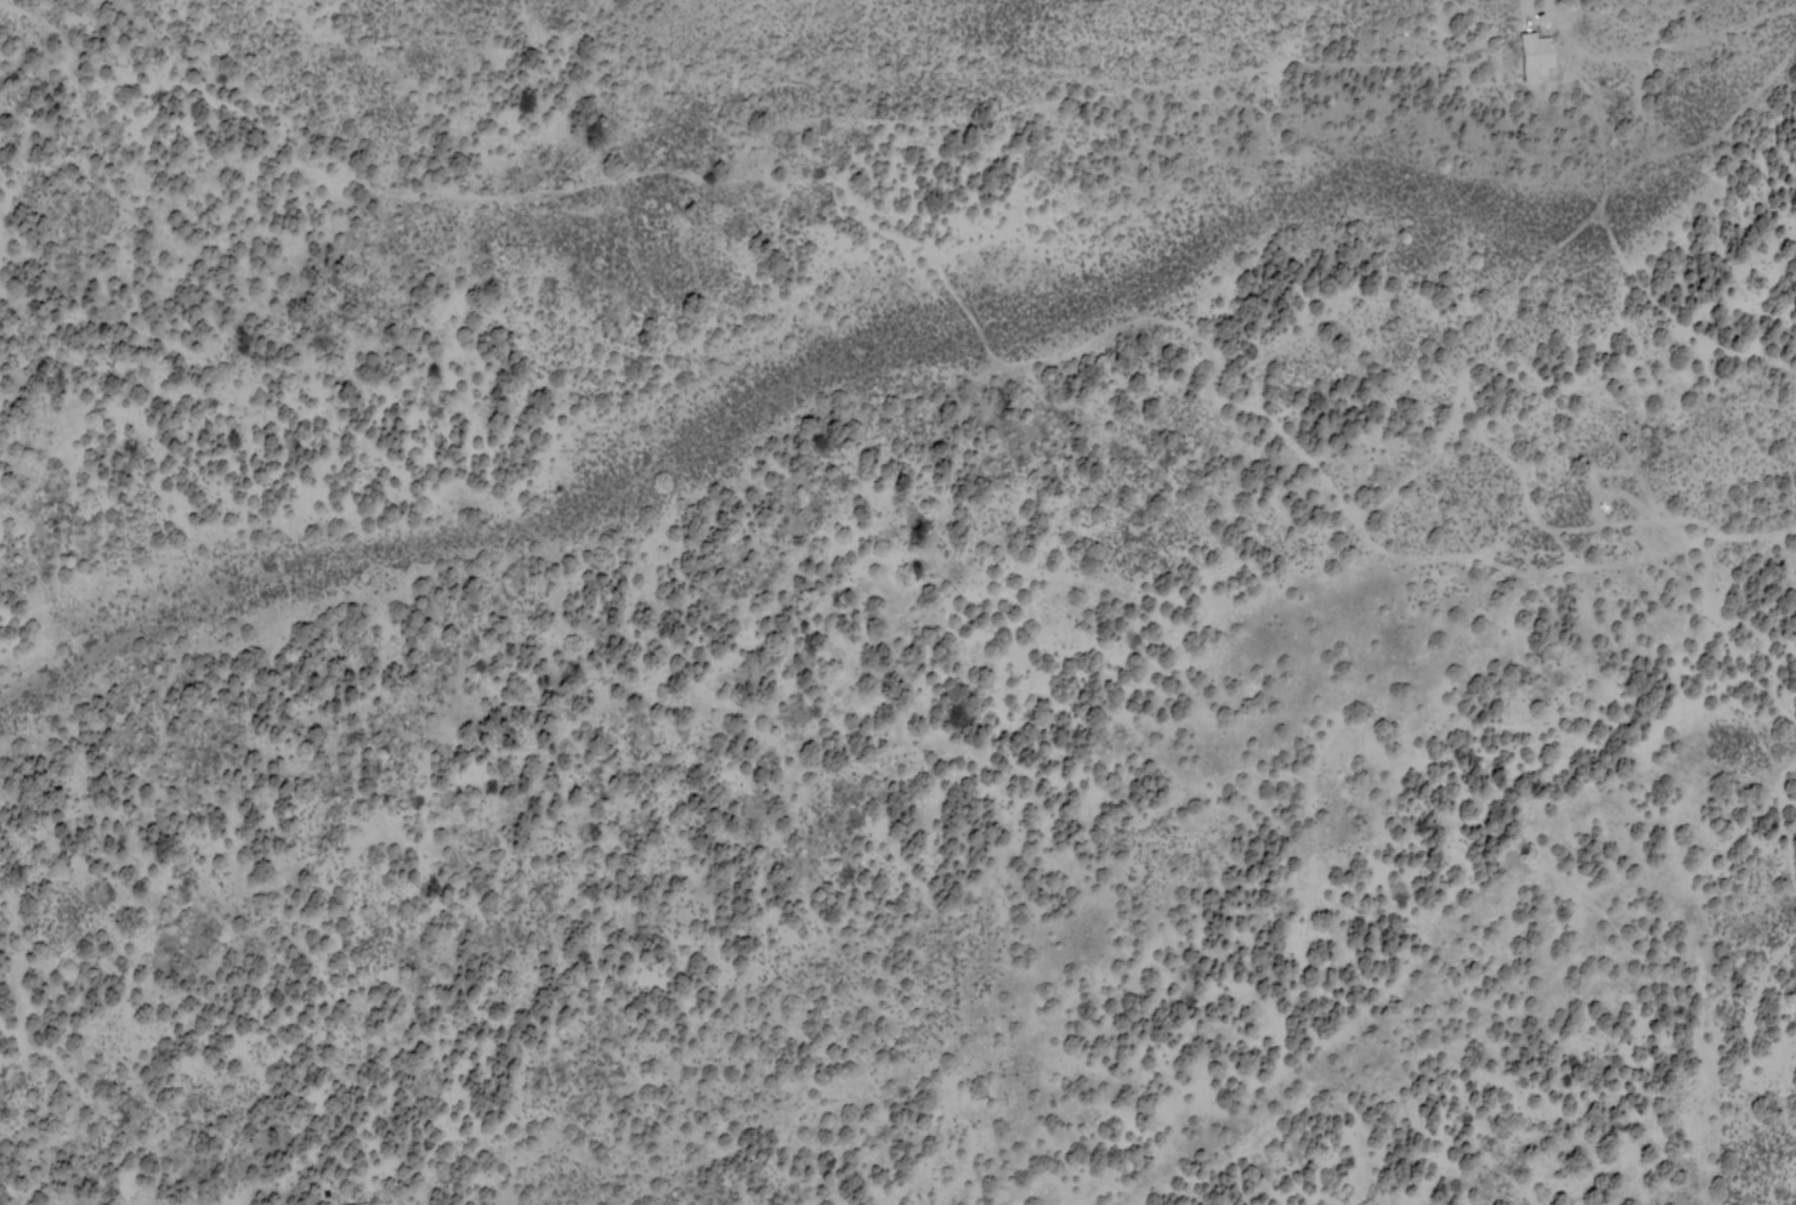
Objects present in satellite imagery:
building: (1535, 56)
building: (1795, 613)
building: (351, 1204)

